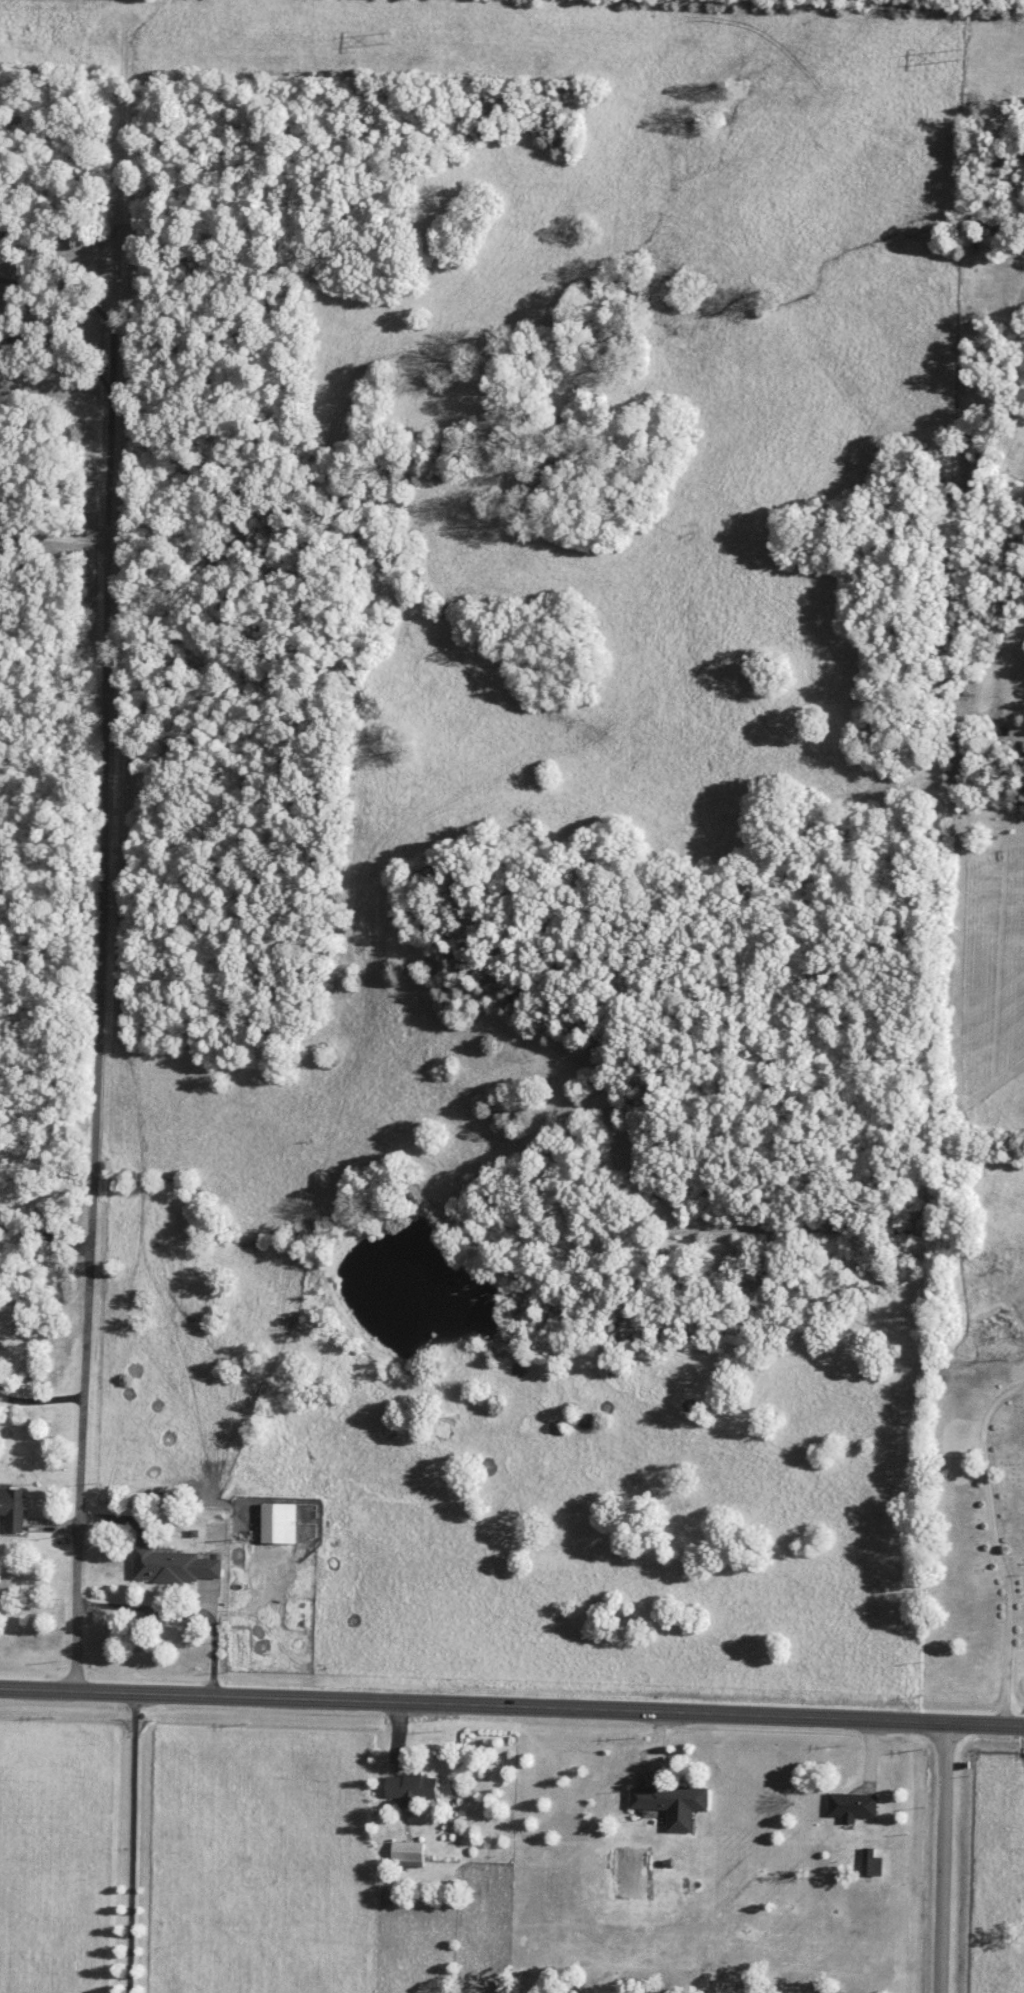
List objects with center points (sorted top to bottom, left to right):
road: (2, 314)
road: (55, 533)
road: (103, 943)
road: (47, 1227)
building: (2, 1369)
building: (15, 1508)
building: (283, 1523)
building: (180, 1565)
road: (187, 1599)
road: (512, 1704)
building: (415, 1787)
building: (675, 1804)
building: (854, 1806)
road: (130, 1842)
building: (410, 1854)
road: (948, 1856)

